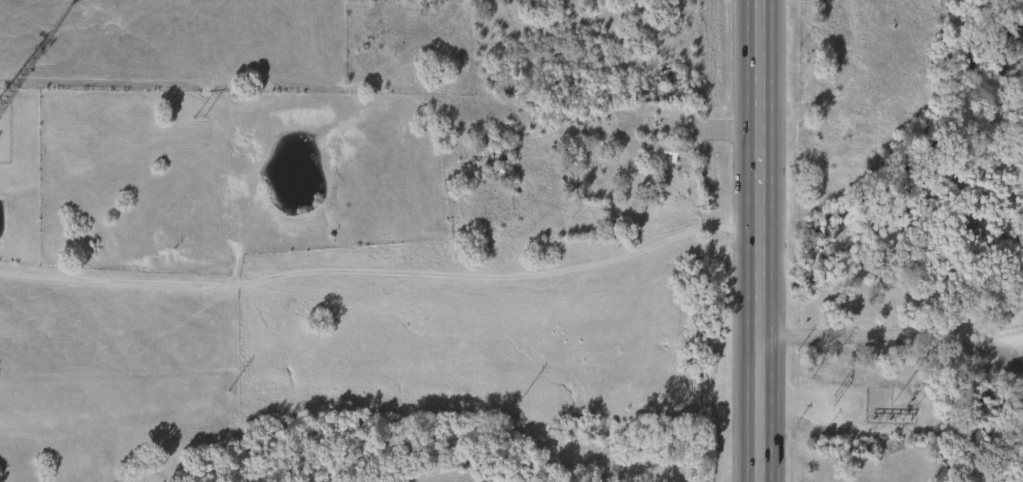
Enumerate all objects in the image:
building: (664, 80)
power tower: (199, 118)
building: (659, 151)
building: (496, 152)
road: (757, 240)
road: (381, 272)
road: (895, 340)
road: (1008, 342)
power tower: (229, 391)

